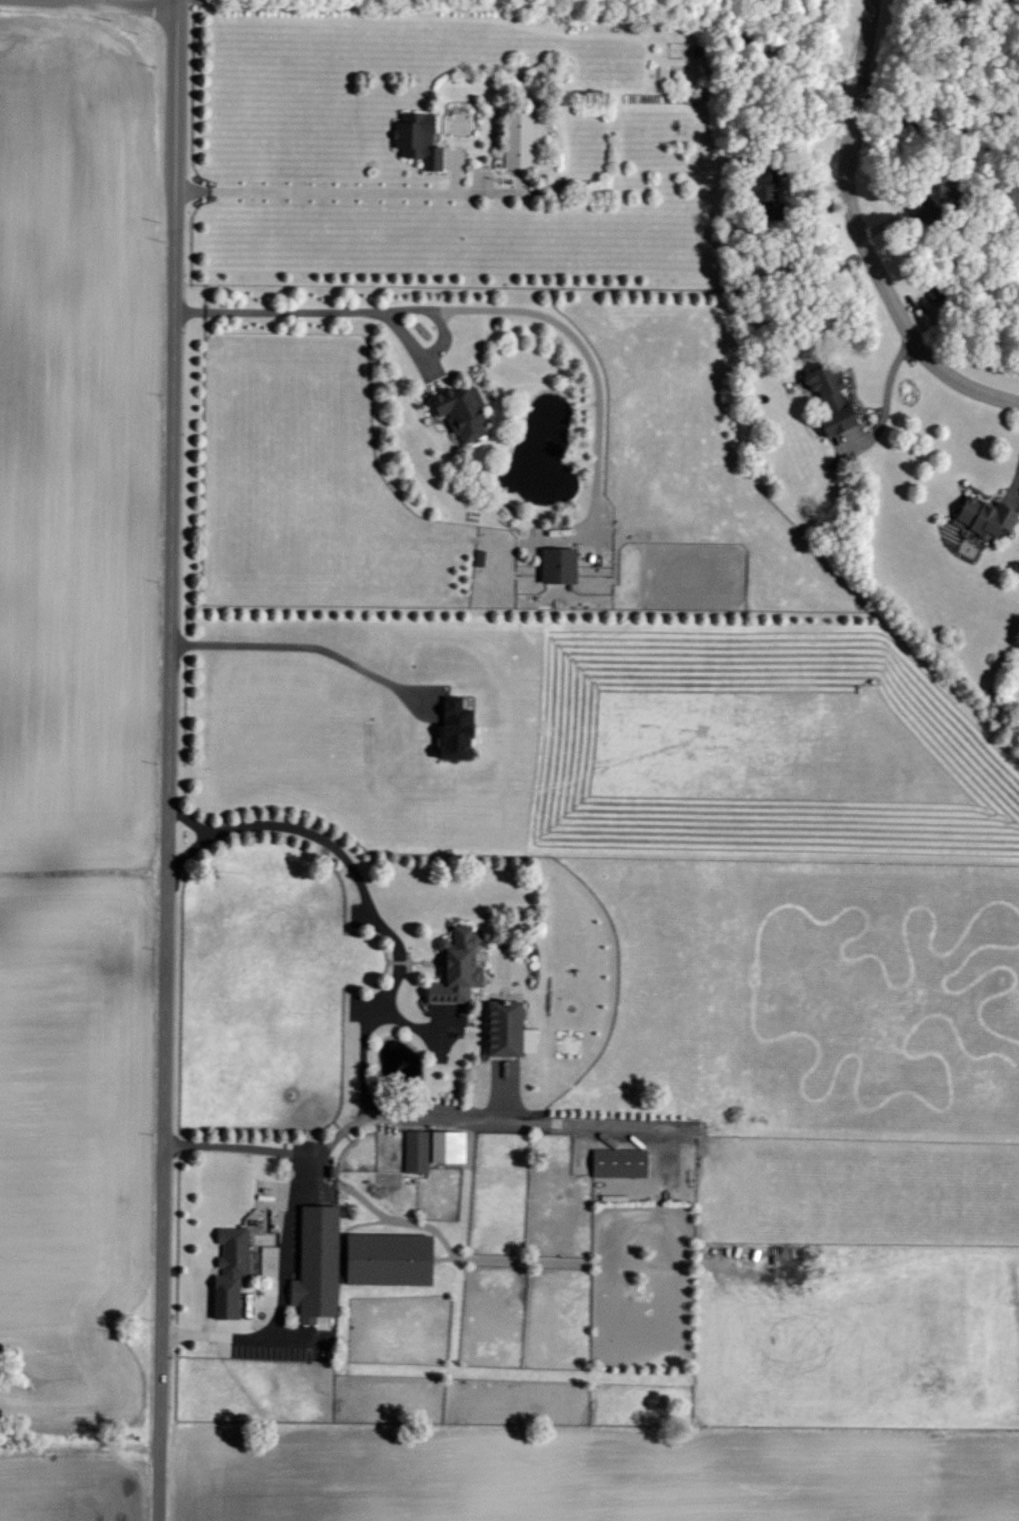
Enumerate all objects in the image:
building: (947, 1)
road: (862, 56)
building: (414, 138)
building: (516, 139)
building: (760, 185)
building: (930, 190)
road: (311, 191)
road: (856, 231)
road: (309, 309)
road: (884, 397)
building: (826, 398)
building: (457, 410)
building: (980, 515)
building: (554, 564)
road: (291, 647)
building: (449, 729)
road: (167, 760)
road: (361, 886)
building: (452, 967)
building: (503, 1029)
road: (363, 1063)
road: (558, 1123)
road: (237, 1144)
building: (444, 1146)
building: (413, 1150)
building: (616, 1162)
building: (382, 1259)
building: (313, 1264)
building: (226, 1271)

